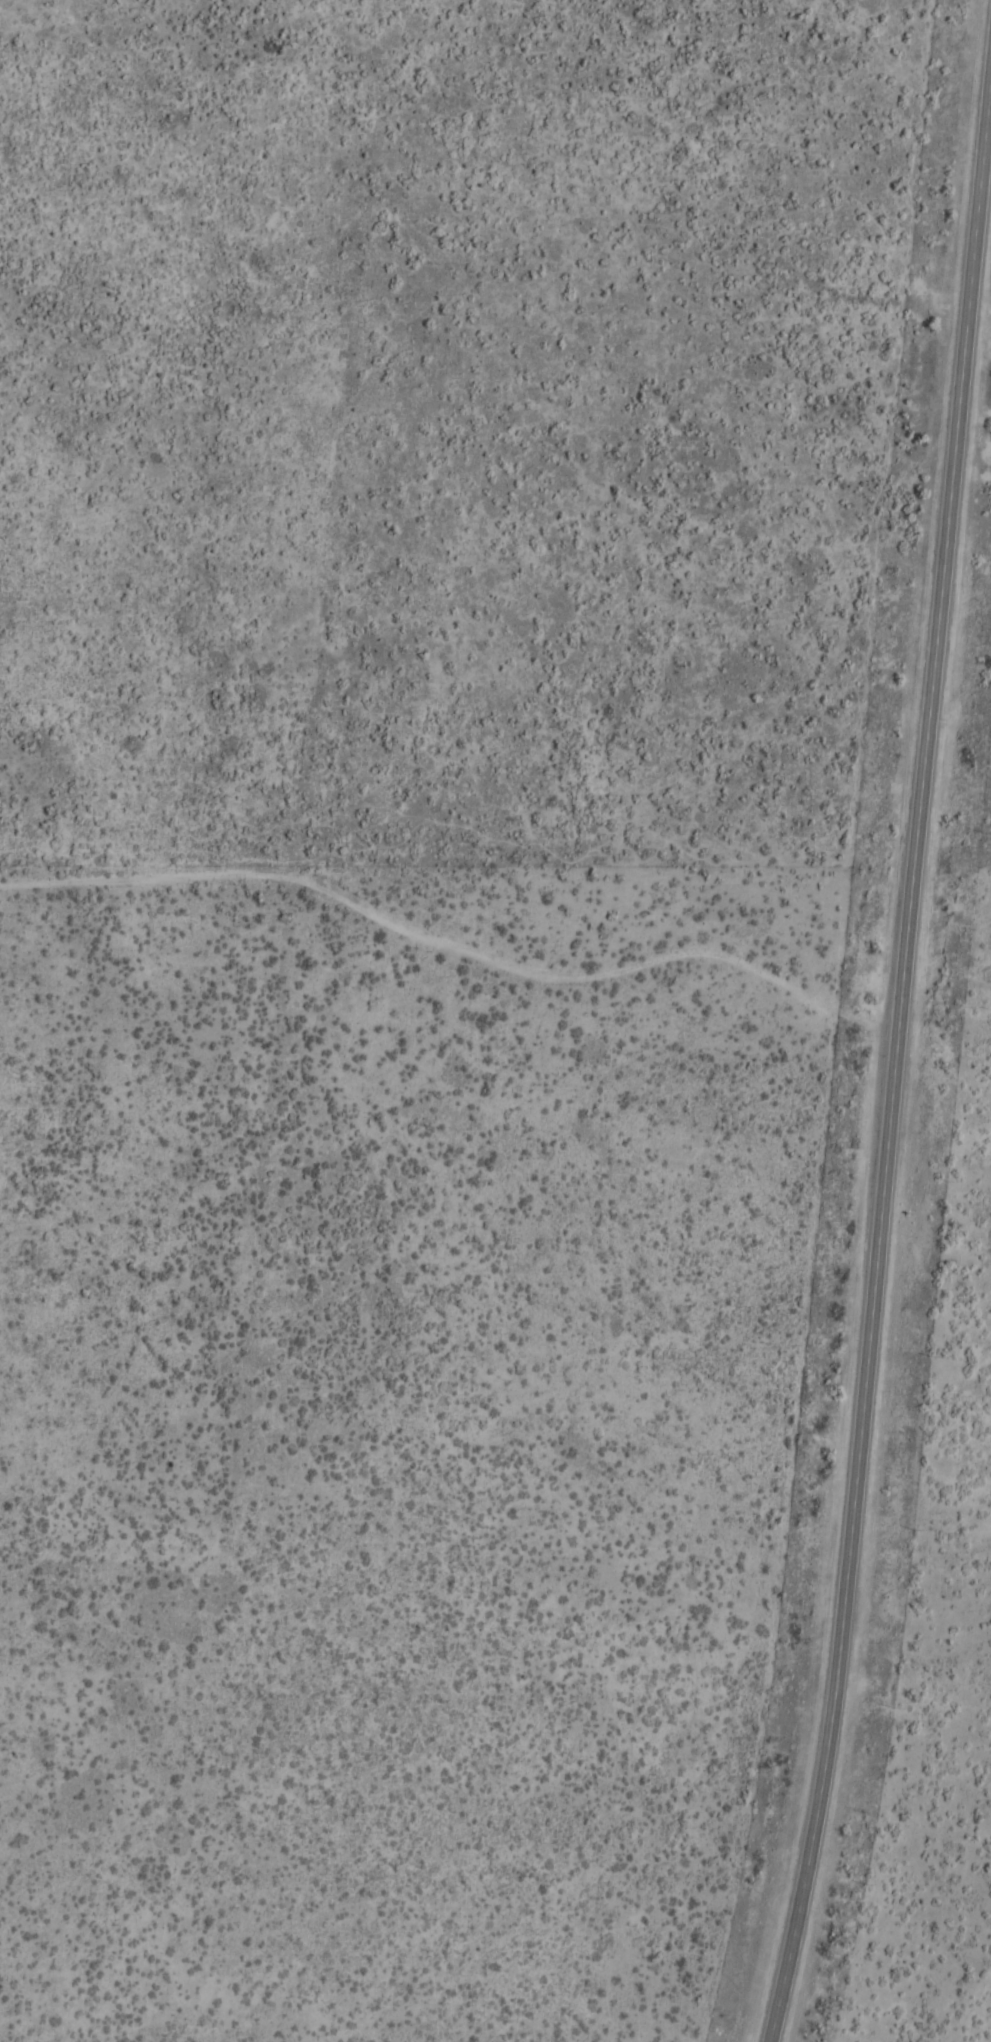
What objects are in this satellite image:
road: (453, 946)
road: (895, 1056)

